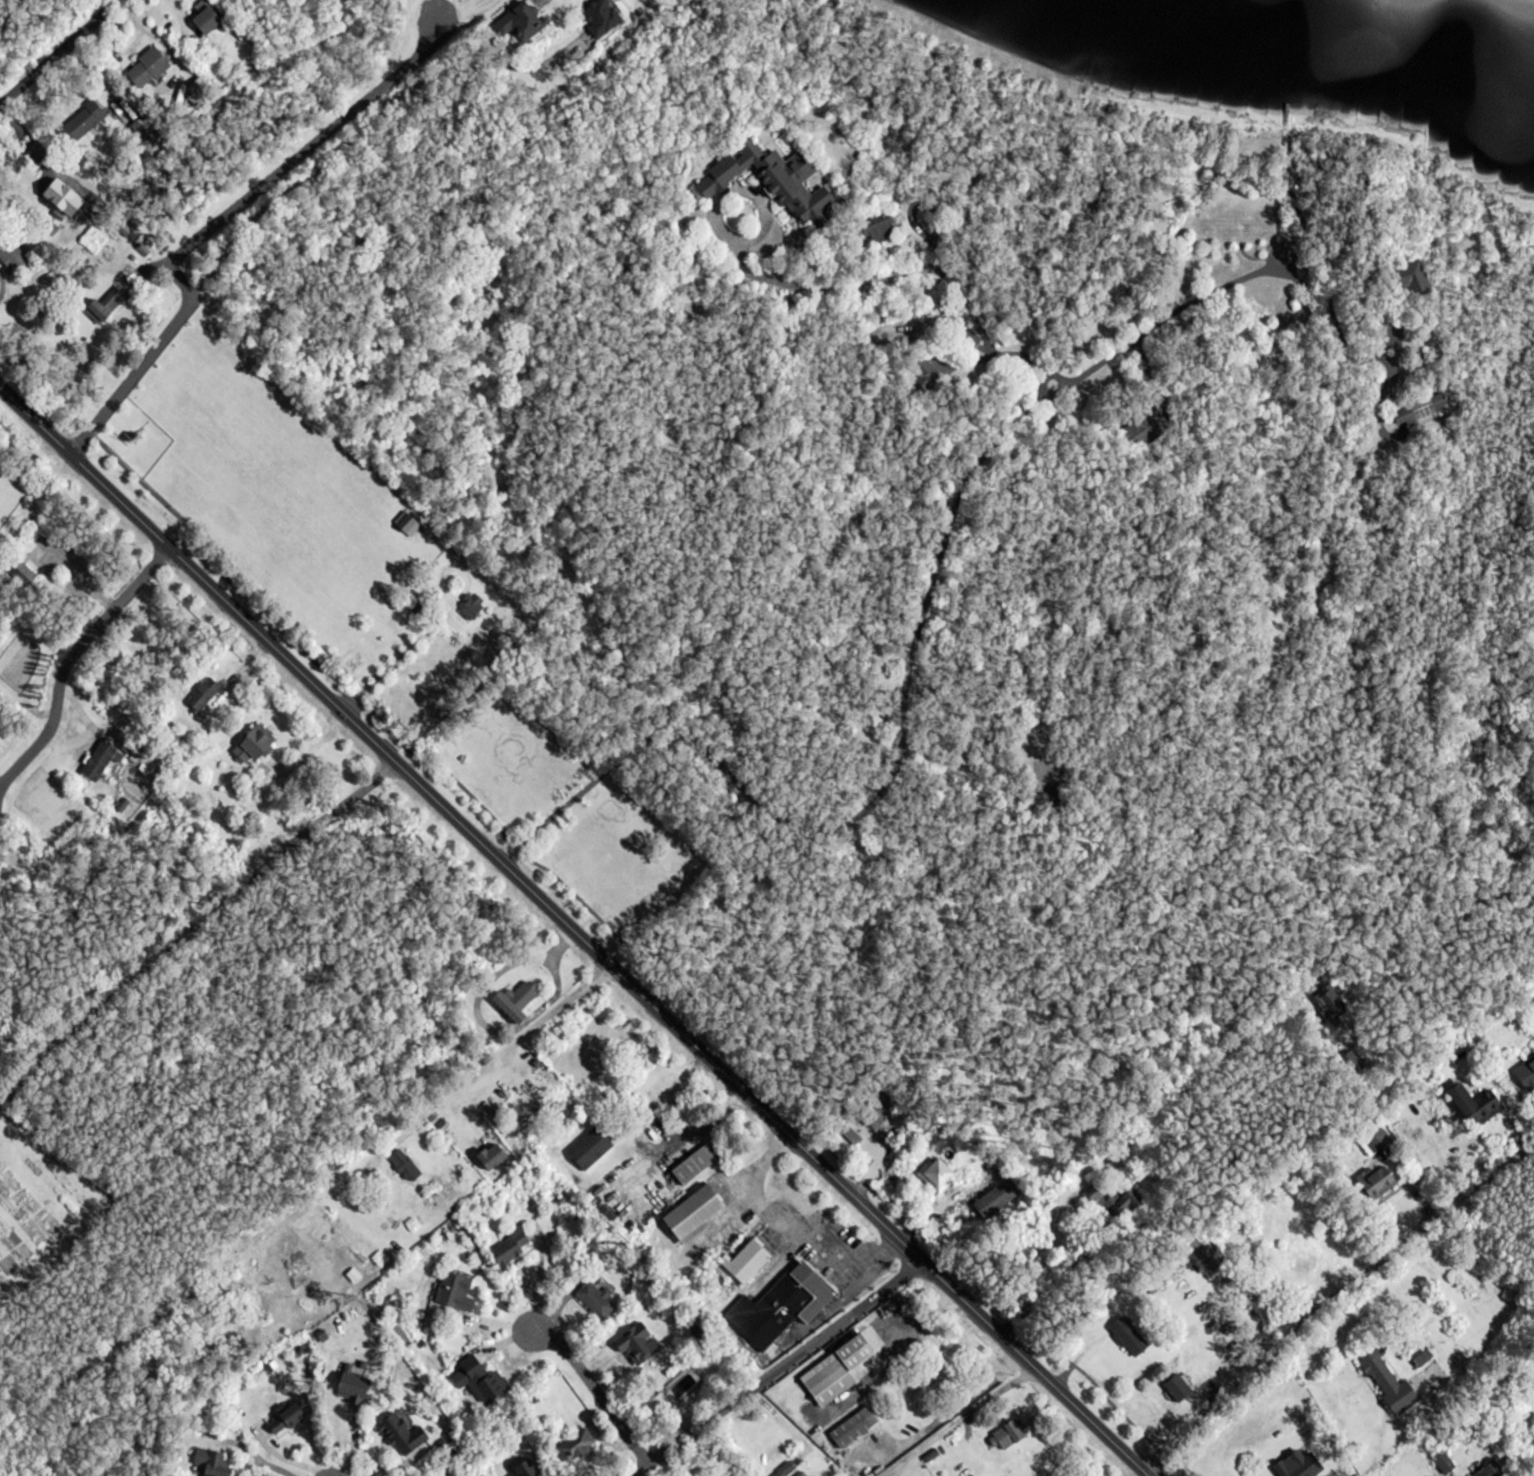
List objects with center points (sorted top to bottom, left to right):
building: (602, 17)
building: (209, 20)
road: (58, 47)
pier: (1289, 64)
building: (148, 68)
building: (88, 119)
road: (357, 132)
building: (773, 179)
road: (215, 221)
building: (881, 228)
building: (1248, 230)
building: (8, 251)
building: (107, 305)
building: (1420, 408)
building: (1148, 430)
building: (407, 524)
building: (21, 573)
building: (473, 607)
road: (67, 660)
building: (204, 696)
building: (258, 745)
building: (100, 762)
road: (865, 810)
road: (592, 911)
road: (190, 923)
road: (573, 932)
building: (1533, 990)
building: (516, 1003)
road: (554, 1010)
building: (1526, 1074)
building: (1476, 1106)
building: (1377, 1139)
building: (590, 1148)
building: (494, 1157)
building: (695, 1165)
building: (939, 1178)
building: (1377, 1183)
building: (999, 1199)
building: (696, 1214)
building: (1302, 1261)
building: (747, 1263)
building: (456, 1293)
road: (1333, 1299)
building: (597, 1301)
building: (783, 1308)
building: (1129, 1338)
building: (639, 1346)
building: (1421, 1356)
road: (775, 1369)
building: (844, 1371)
building: (1388, 1381)
building: (478, 1382)
road: (594, 1391)
building: (354, 1395)
road: (986, 1402)
building: (287, 1419)
building: (855, 1428)
building: (404, 1435)
building: (1008, 1437)
building: (577, 1447)
building: (215, 1465)
building: (522, 1470)
building: (1488, 1470)
building: (802, 1474)

